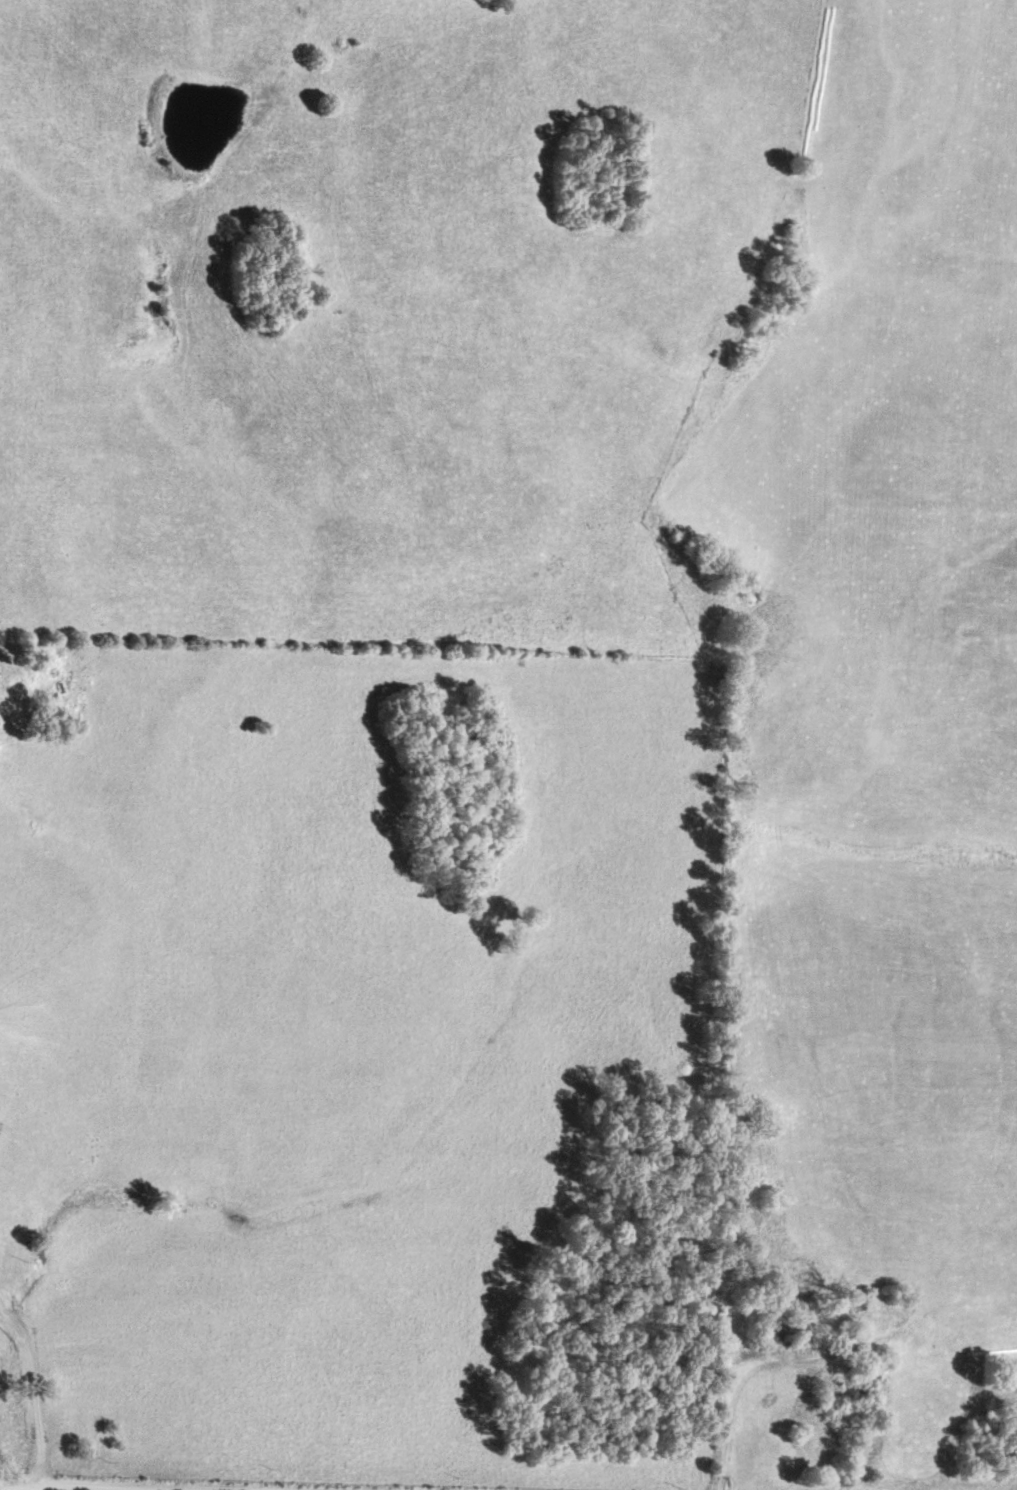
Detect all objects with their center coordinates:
road: (770, 1360)
road: (108, 1487)

